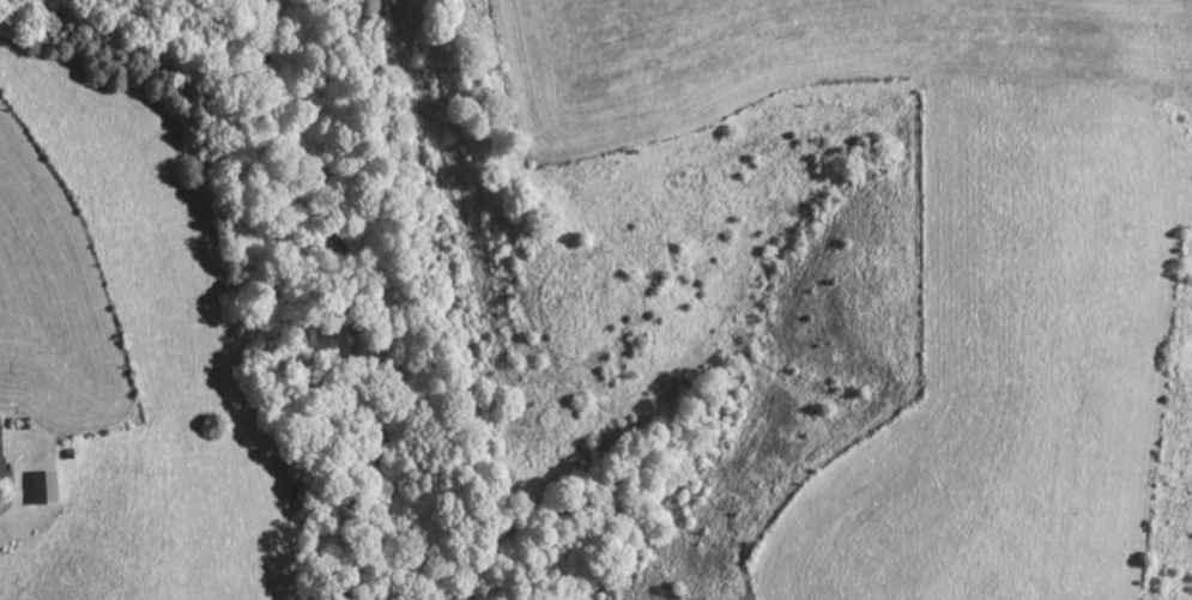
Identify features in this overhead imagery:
building: (41, 491)

